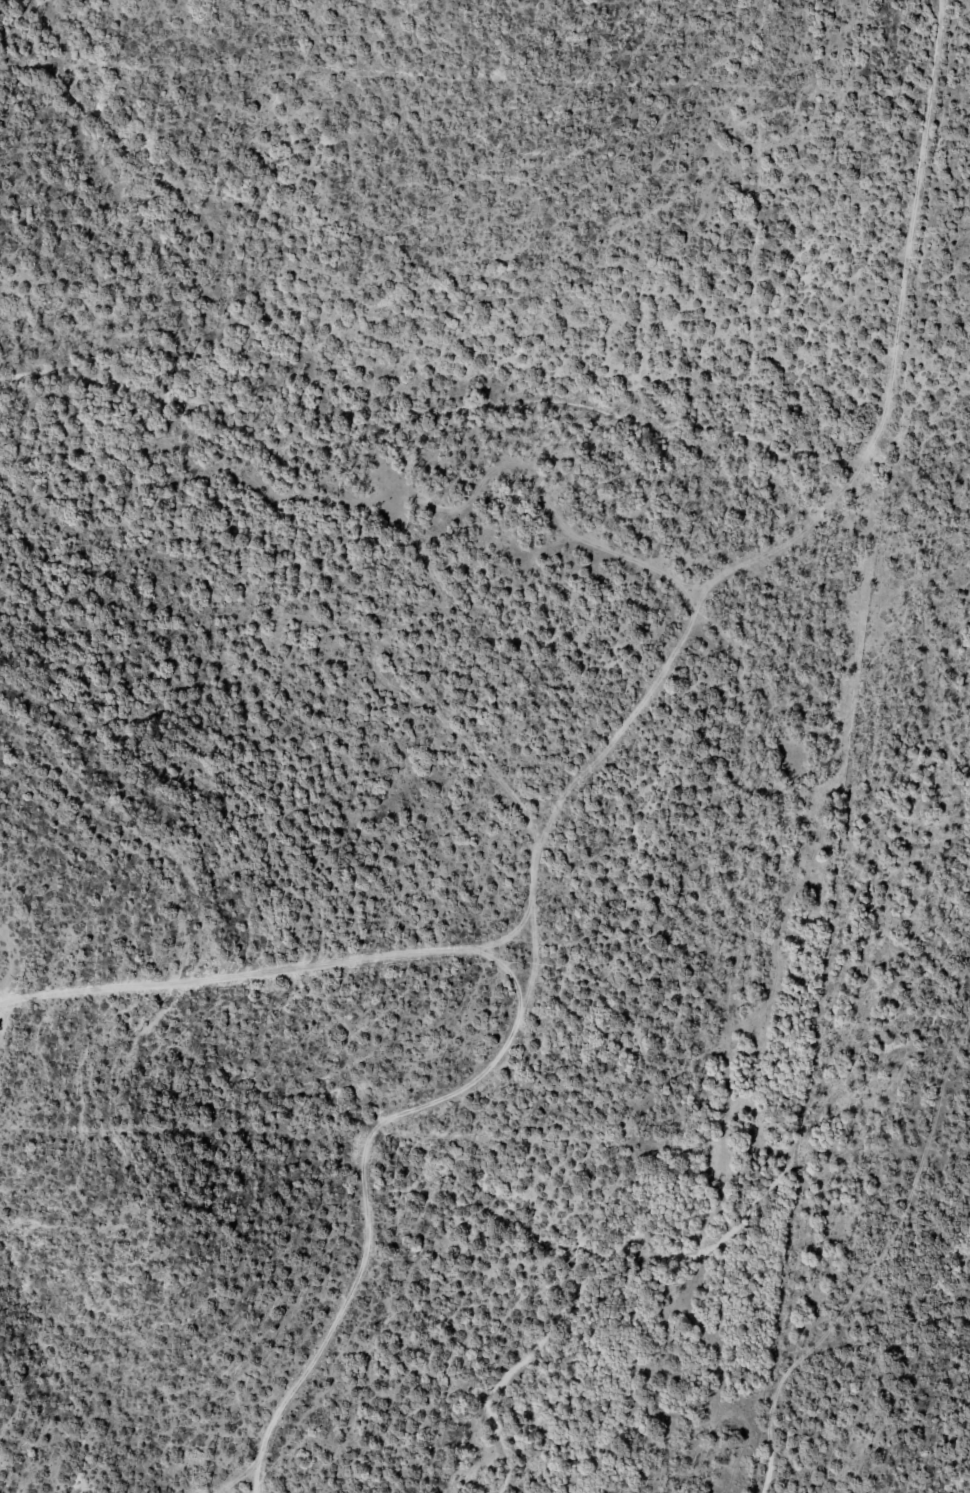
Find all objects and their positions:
road: (523, 983)
road: (860, 1287)

